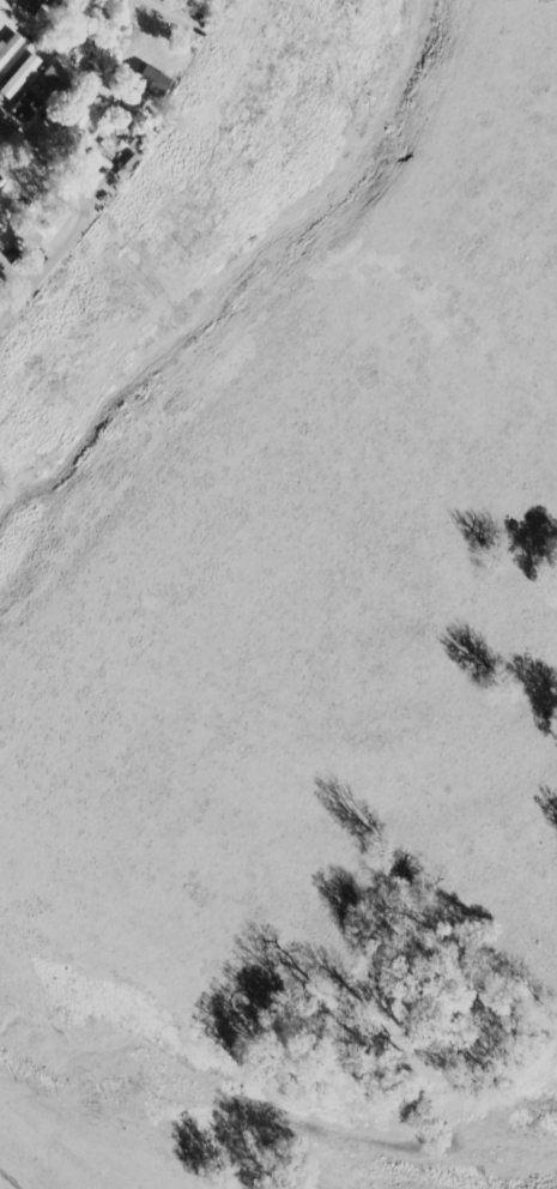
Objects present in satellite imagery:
building: (28, 6)
road: (211, 20)
building: (7, 46)
building: (18, 74)
building: (49, 80)
building: (147, 82)
building: (20, 107)
road: (165, 135)
road: (42, 192)
building: (22, 240)
road: (55, 267)
road: (12, 292)
road: (12, 318)
railway: (29, 1164)

